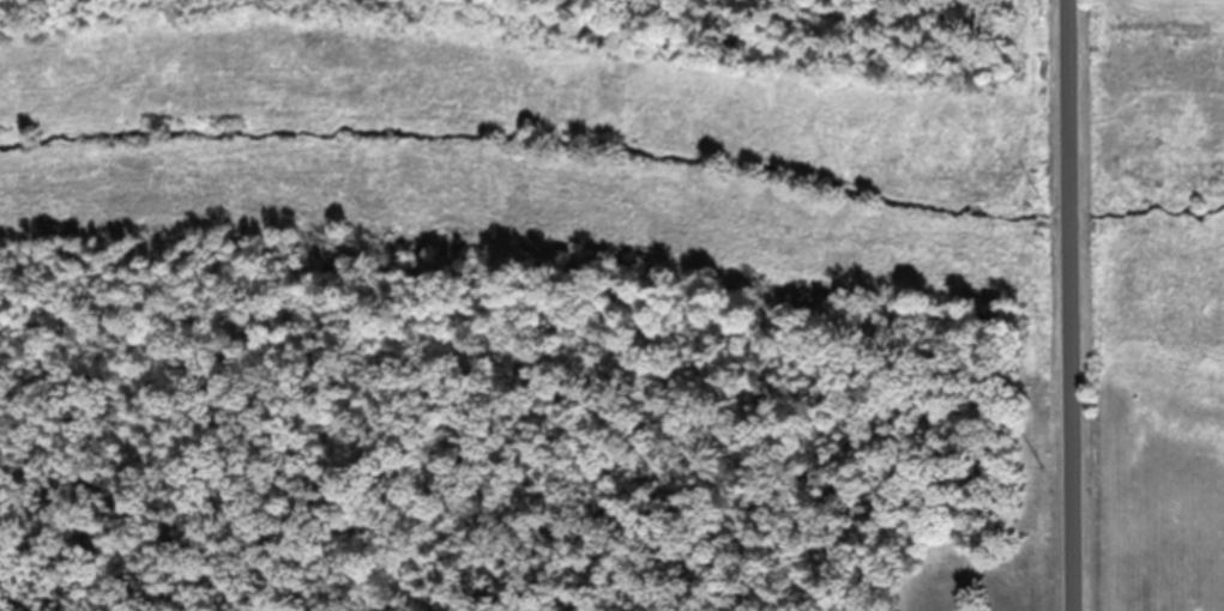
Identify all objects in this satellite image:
road: (1072, 304)

